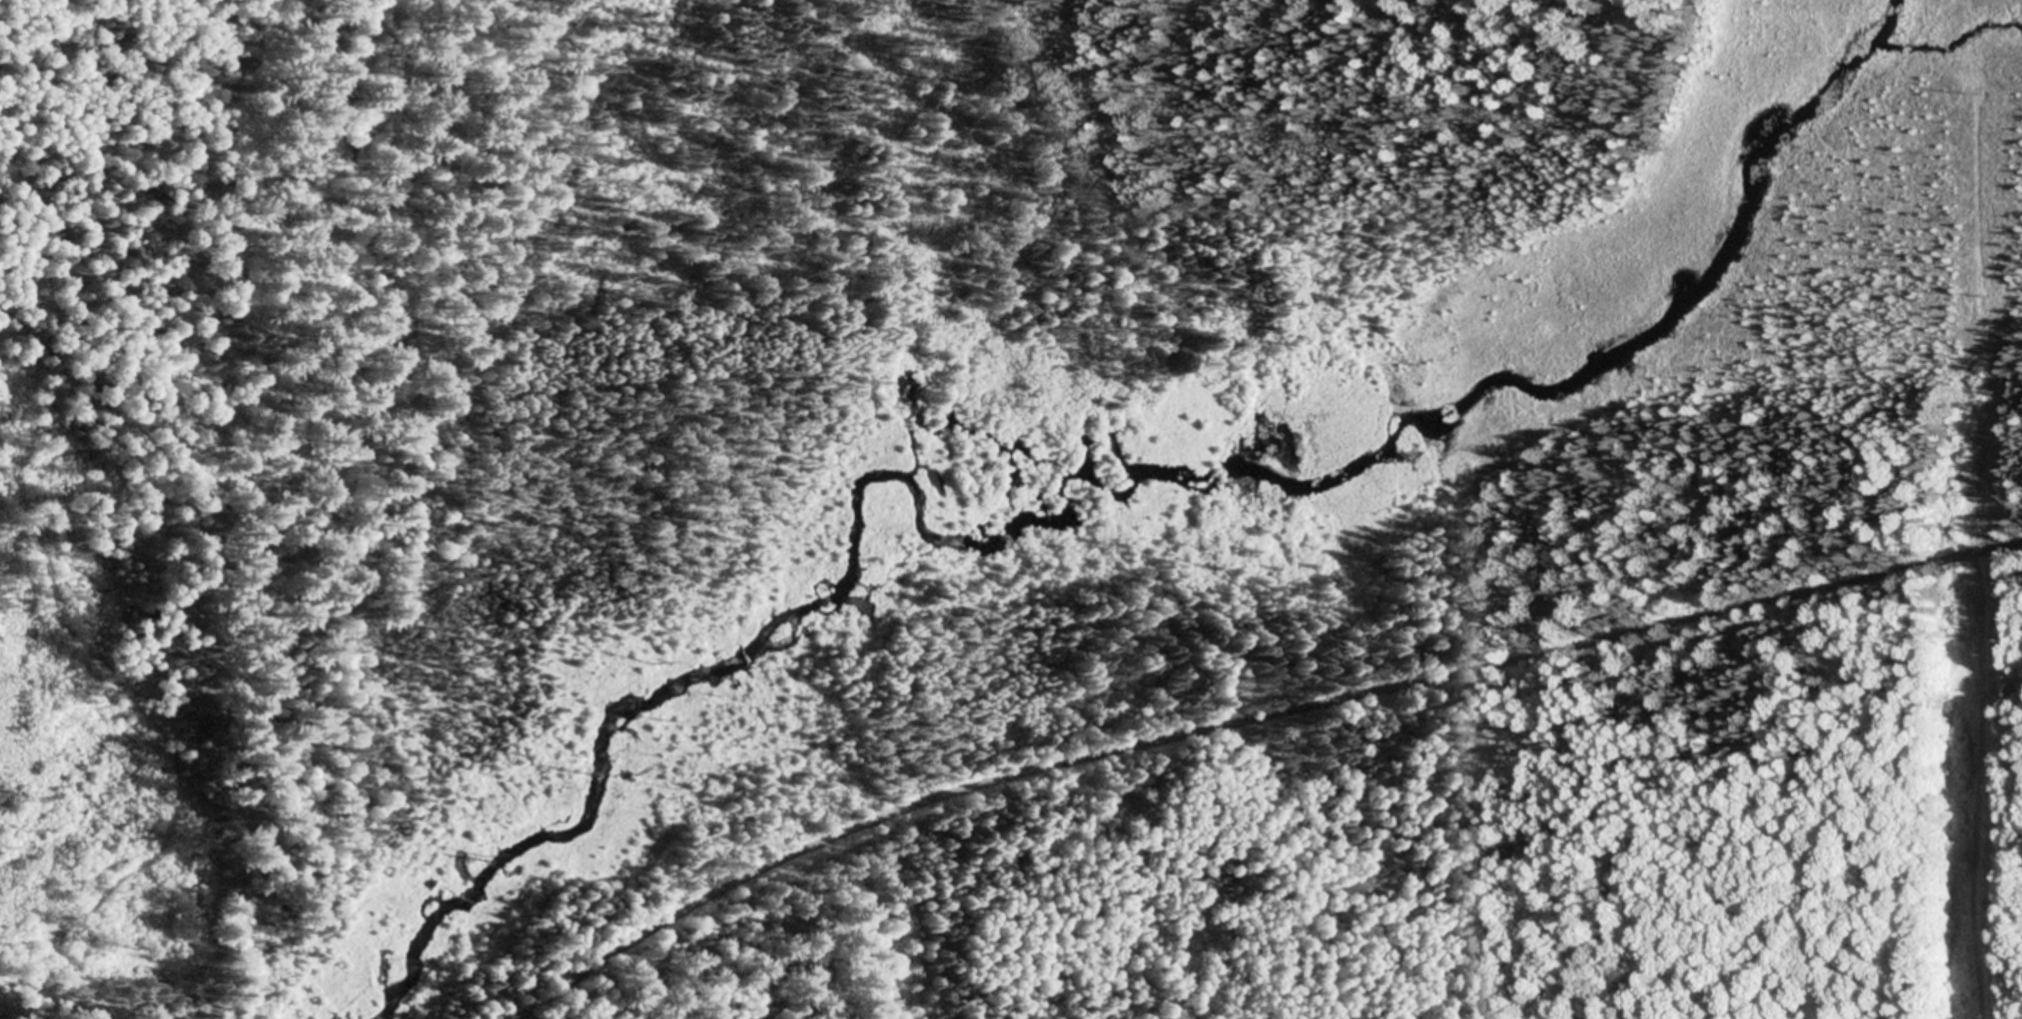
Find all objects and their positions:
road: (1247, 709)

